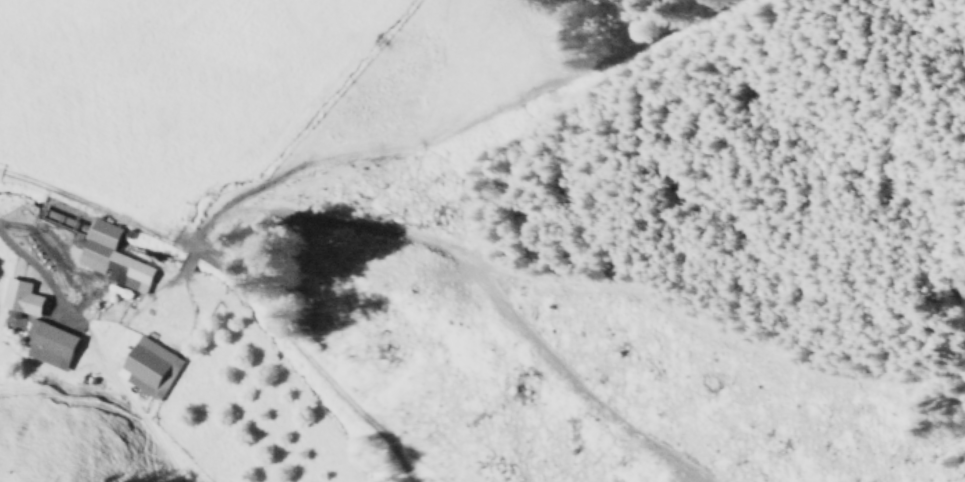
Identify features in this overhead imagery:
building: (224, 240)
building: (113, 259)
road: (32, 268)
building: (21, 298)
building: (52, 347)
building: (147, 368)

